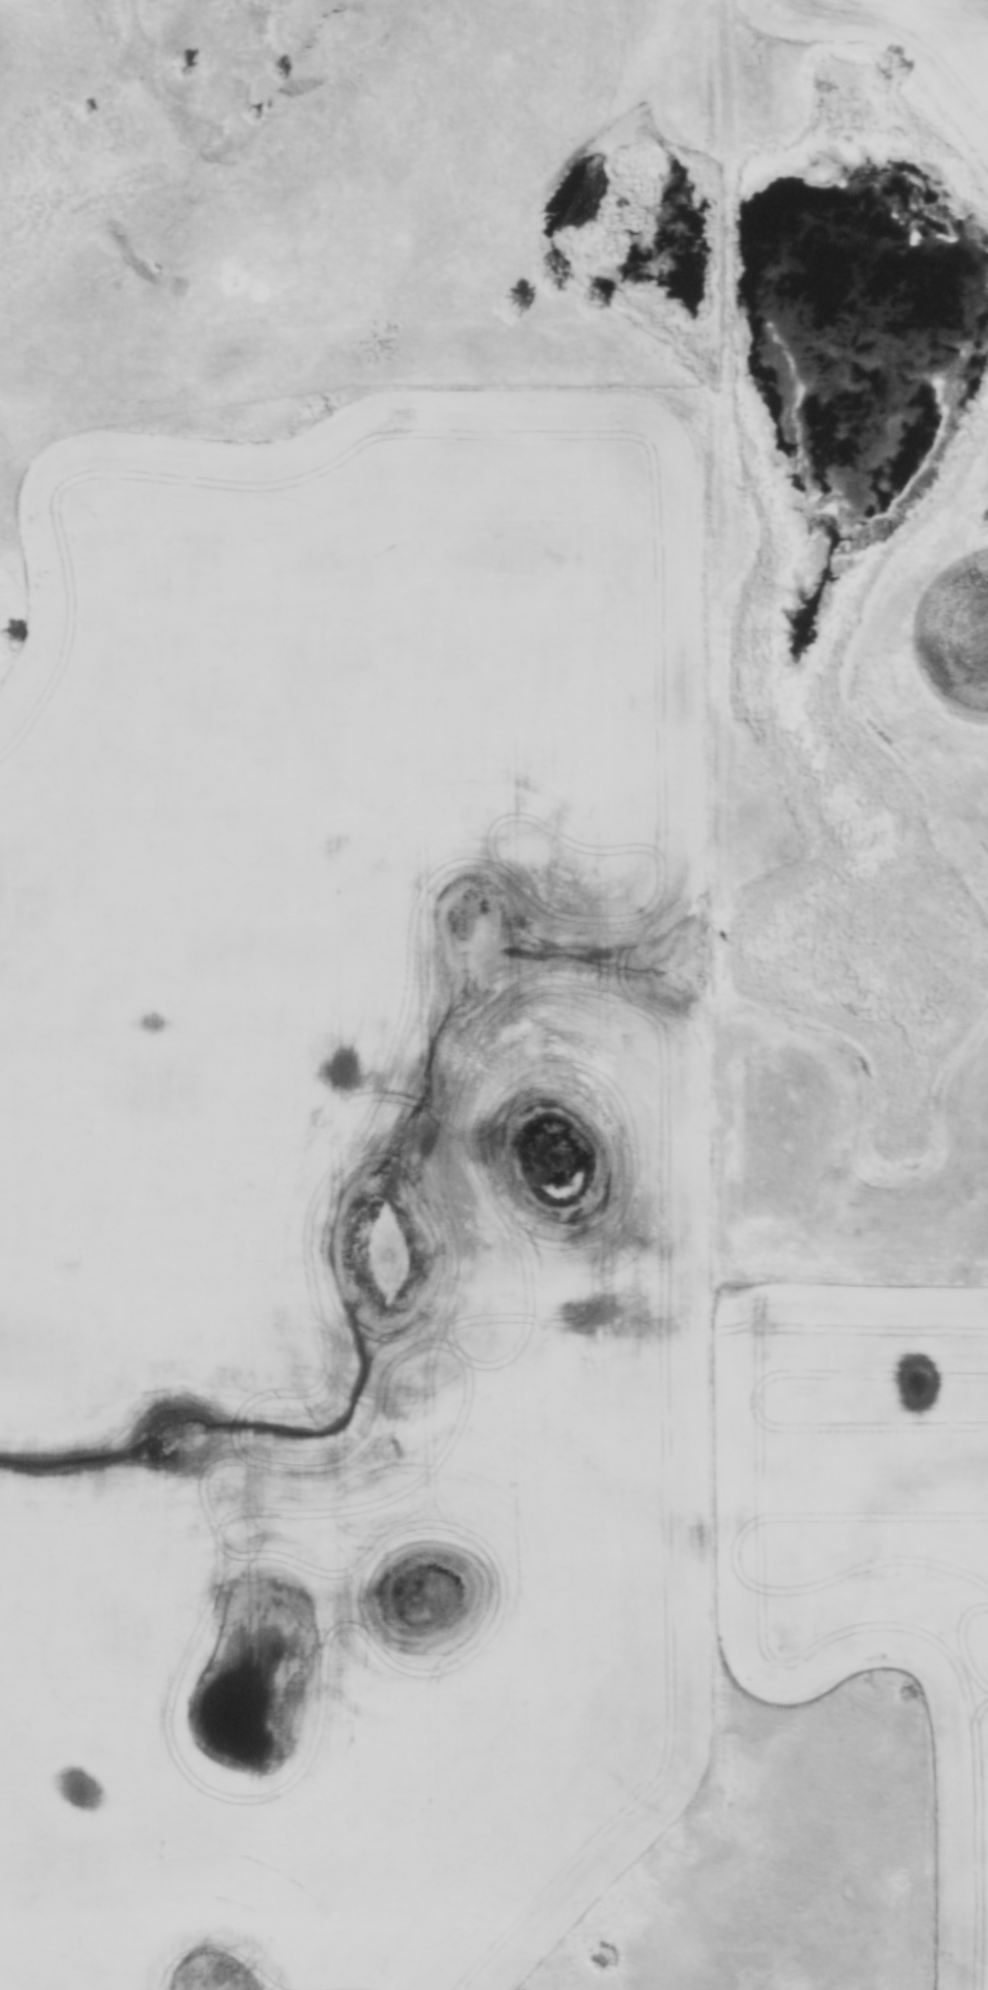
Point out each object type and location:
road: (708, 1022)

